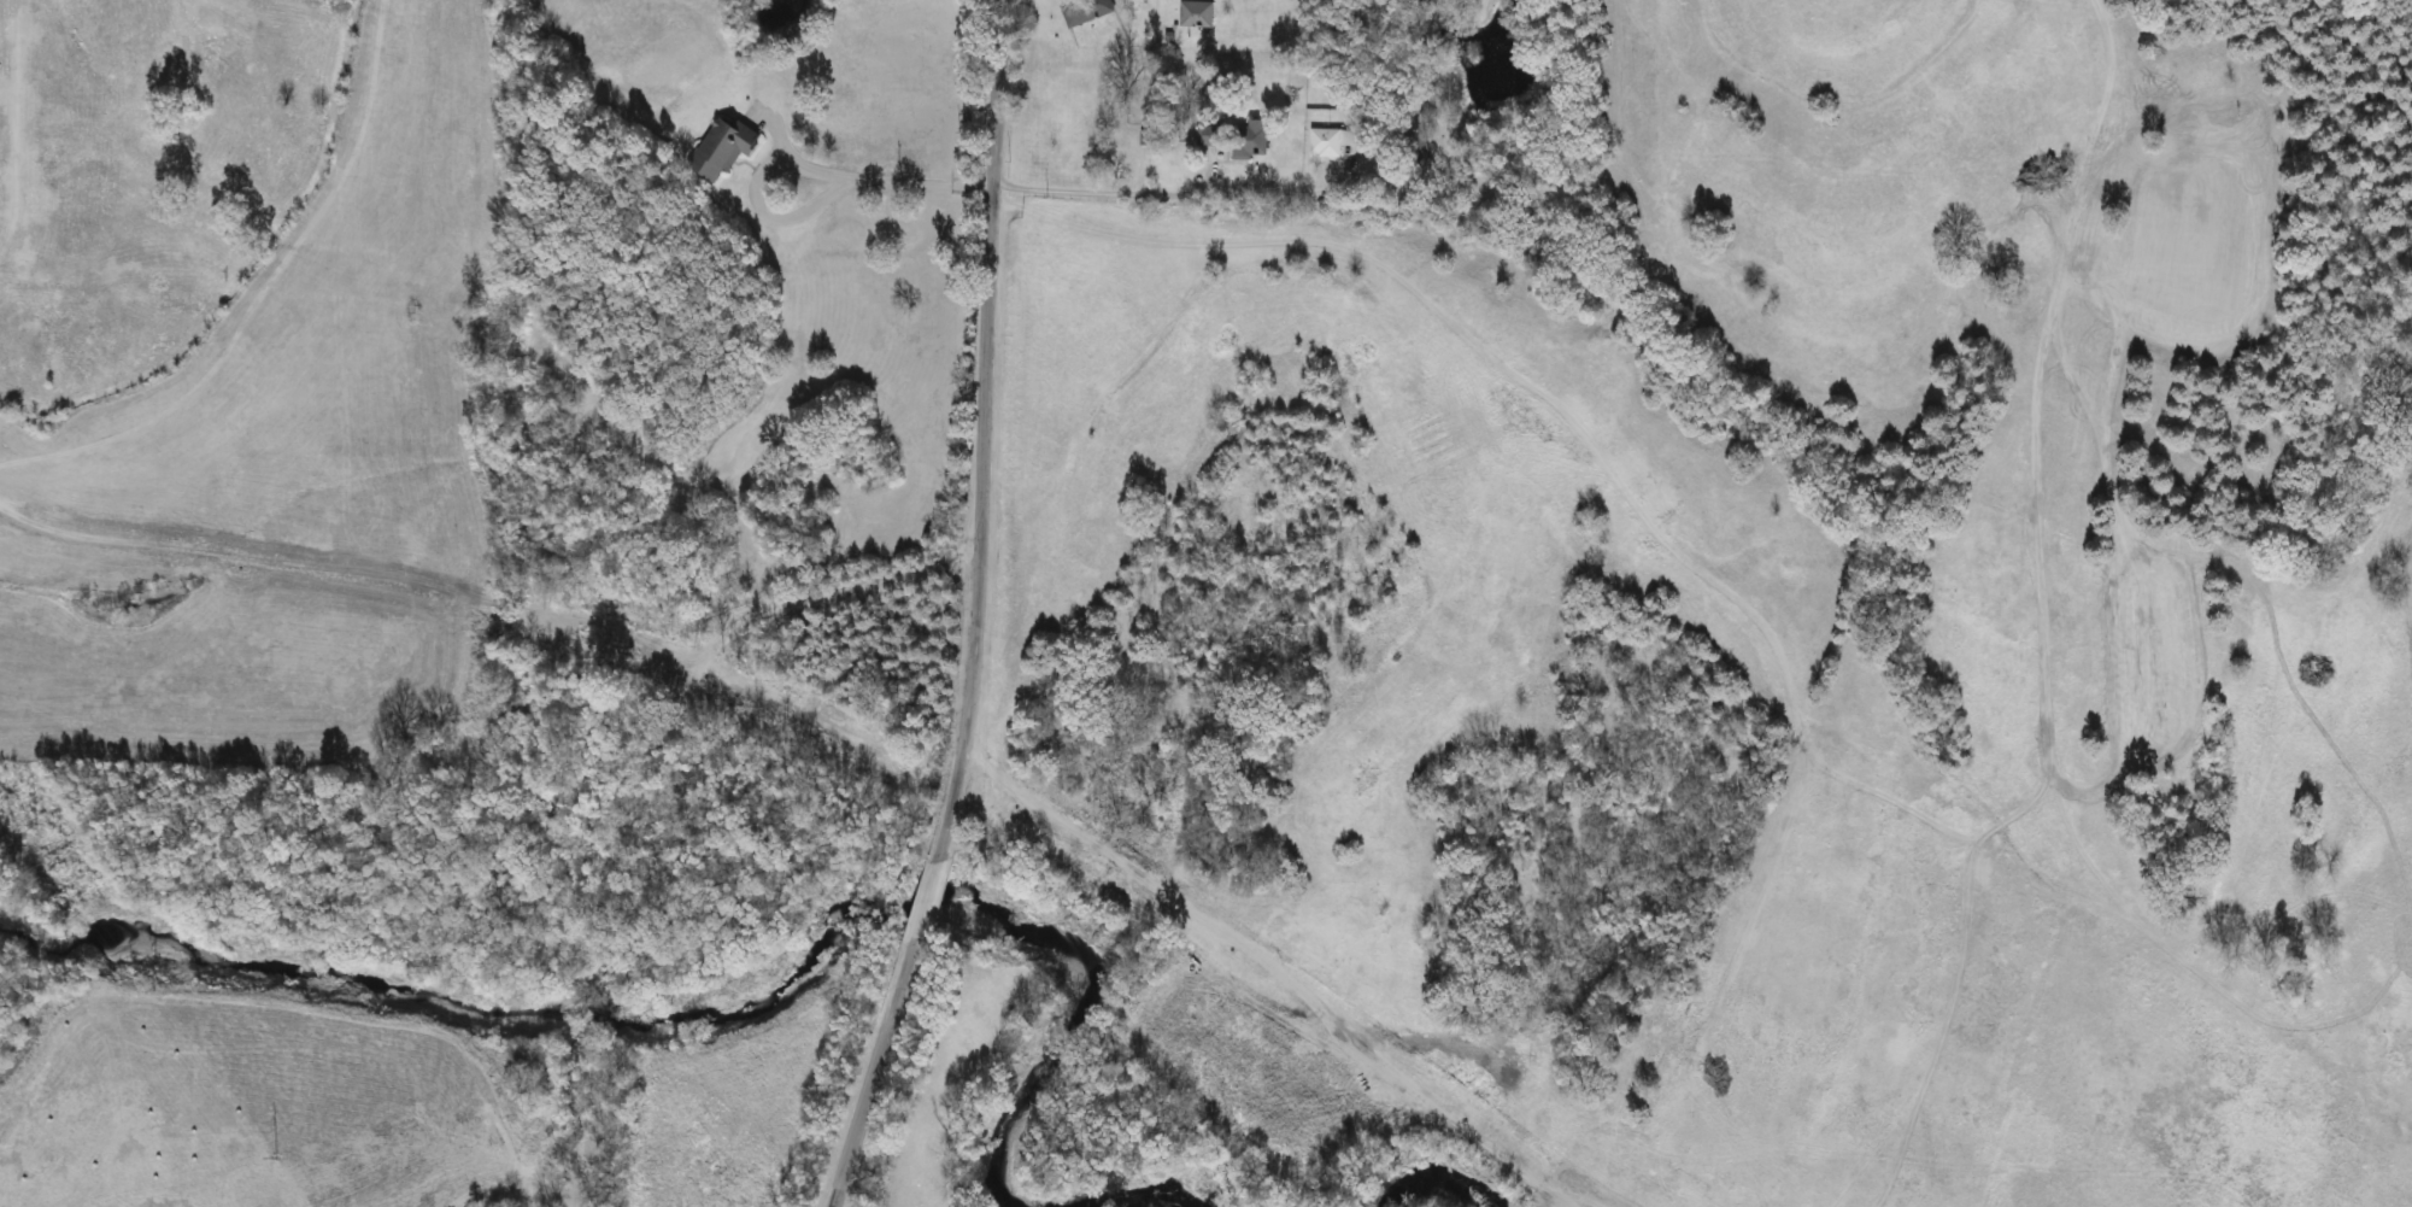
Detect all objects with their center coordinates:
building: (1090, 10)
building: (1197, 14)
building: (1210, 135)
building: (1251, 140)
building: (1333, 141)
building: (724, 147)
road: (802, 170)
road: (1215, 193)
road: (984, 414)
road: (921, 916)
road: (864, 1107)
road: (586, 1131)

